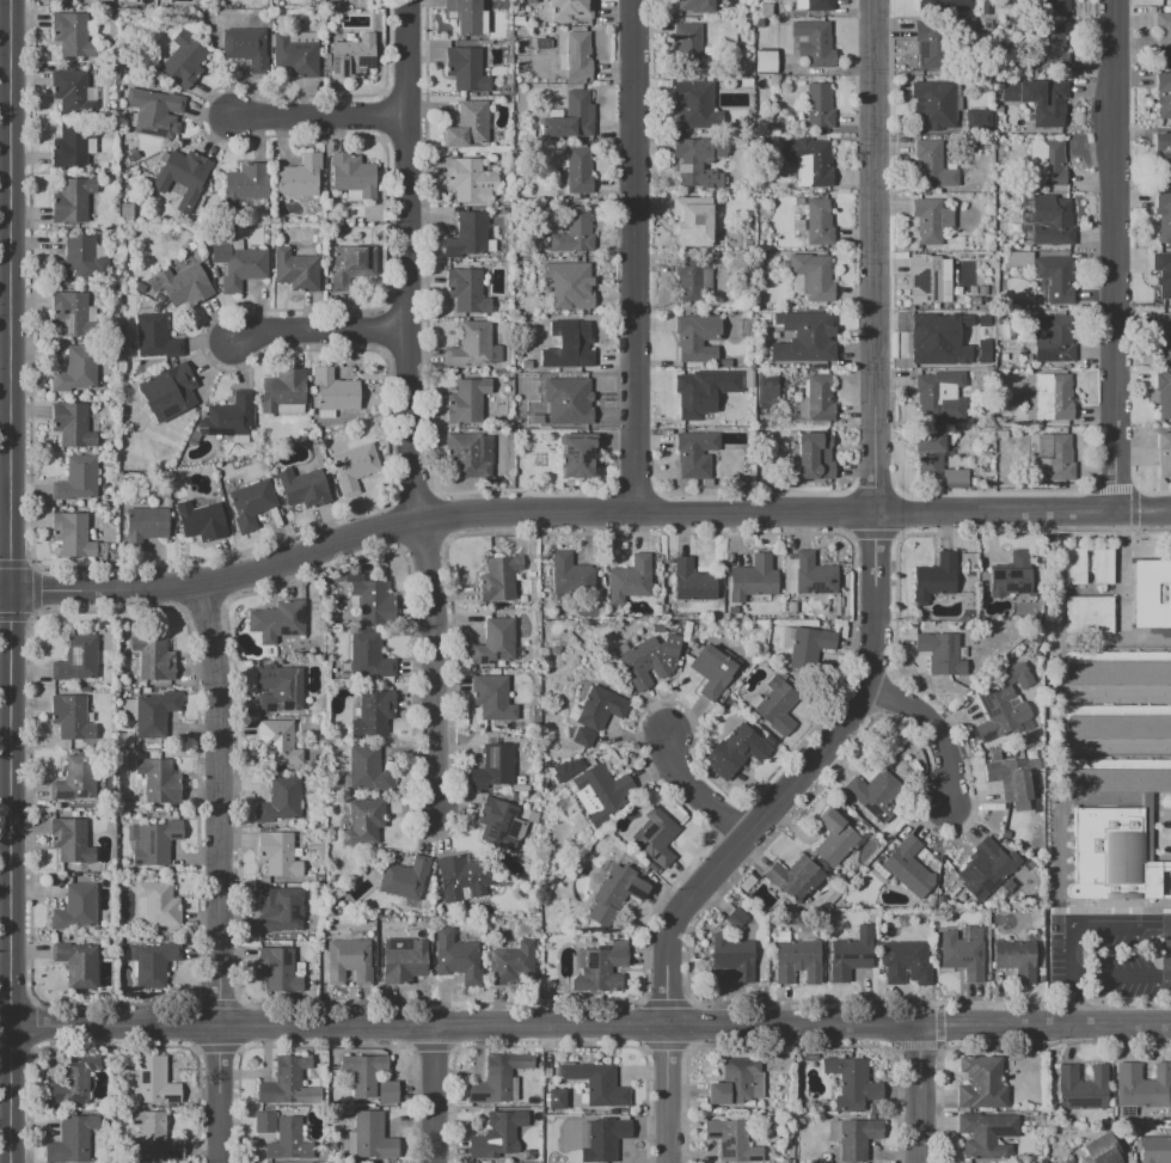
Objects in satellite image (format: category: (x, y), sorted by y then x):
building: (531, 1)
building: (816, 4)
building: (930, 4)
building: (983, 5)
building: (688, 6)
building: (1054, 6)
building: (571, 10)
building: (765, 10)
building: (520, 12)
road: (6, 14)
building: (692, 14)
building: (466, 16)
building: (517, 20)
building: (689, 20)
building: (758, 23)
building: (70, 35)
building: (1163, 35)
building: (349, 37)
building: (485, 42)
building: (541, 43)
building: (687, 43)
building: (814, 43)
building: (928, 43)
building: (244, 47)
building: (1052, 48)
building: (351, 55)
building: (294, 56)
building: (577, 56)
building: (743, 56)
building: (180, 60)
building: (562, 62)
building: (766, 62)
building: (78, 66)
building: (466, 68)
building: (484, 69)
building: (746, 80)
building: (68, 88)
building: (505, 90)
building: (998, 94)
building: (1164, 94)
building: (691, 104)
building: (933, 104)
building: (1052, 104)
building: (819, 105)
building: (154, 111)
road: (318, 115)
building: (571, 117)
building: (979, 120)
building: (468, 126)
building: (998, 129)
building: (1013, 129)
building: (529, 134)
building: (760, 139)
building: (72, 142)
building: (125, 146)
building: (1163, 153)
building: (468, 154)
building: (131, 157)
building: (105, 158)
building: (698, 161)
building: (809, 161)
building: (932, 165)
building: (1047, 165)
building: (183, 170)
building: (577, 171)
building: (352, 175)
building: (300, 177)
building: (470, 179)
building: (246, 182)
building: (997, 188)
building: (820, 190)
building: (810, 195)
building: (73, 201)
building: (798, 201)
building: (503, 210)
building: (1163, 215)
building: (931, 220)
building: (694, 221)
building: (1052, 221)
building: (819, 222)
building: (798, 225)
building: (574, 233)
building: (466, 237)
building: (747, 244)
building: (490, 245)
building: (191, 246)
building: (759, 252)
road: (632, 255)
road: (1114, 255)
road: (873, 256)
road: (406, 259)
building: (1018, 259)
building: (79, 261)
building: (238, 263)
building: (351, 265)
building: (295, 269)
building: (1164, 275)
building: (813, 276)
building: (691, 277)
building: (930, 280)
building: (1055, 280)
building: (182, 284)
building: (569, 284)
building: (139, 287)
building: (982, 290)
building: (466, 292)
road: (12, 295)
building: (158, 298)
building: (975, 301)
building: (154, 308)
building: (69, 313)
building: (91, 313)
road: (317, 330)
building: (1005, 332)
building: (1164, 335)
building: (154, 337)
building: (803, 337)
building: (697, 338)
building: (937, 339)
building: (1053, 339)
building: (545, 344)
building: (580, 344)
building: (474, 345)
building: (981, 350)
building: (541, 365)
building: (76, 369)
building: (766, 386)
building: (282, 391)
building: (335, 391)
building: (167, 392)
building: (942, 394)
building: (1164, 394)
building: (693, 396)
building: (1053, 397)
building: (816, 399)
building: (466, 402)
building: (575, 403)
building: (290, 409)
building: (550, 410)
road: (6, 411)
building: (730, 412)
building: (325, 414)
building: (227, 417)
building: (70, 426)
building: (1001, 434)
building: (192, 439)
building: (239, 439)
building: (950, 443)
building: (987, 452)
building: (577, 454)
building: (930, 454)
building: (1164, 454)
building: (470, 455)
building: (697, 455)
building: (814, 455)
building: (1056, 455)
building: (534, 458)
building: (352, 466)
building: (76, 479)
building: (954, 479)
building: (991, 479)
building: (975, 482)
building: (568, 483)
building: (577, 483)
building: (302, 488)
building: (250, 504)
road: (585, 510)
building: (202, 520)
building: (142, 528)
building: (72, 535)
building: (1075, 568)
building: (1104, 568)
building: (569, 575)
building: (814, 575)
building: (934, 577)
building: (498, 579)
building: (753, 579)
building: (629, 580)
building: (1013, 580)
building: (692, 582)
road: (6, 592)
traffic signals: (12, 592)
building: (1152, 593)
building: (369, 598)
building: (790, 606)
building: (731, 611)
building: (1090, 614)
building: (277, 620)
building: (657, 626)
building: (495, 643)
building: (813, 650)
building: (939, 651)
building: (368, 655)
building: (153, 657)
building: (646, 659)
building: (75, 660)
road: (427, 666)
building: (1117, 668)
building: (712, 672)
building: (280, 687)
building: (492, 697)
building: (777, 705)
building: (597, 706)
building: (997, 711)
building: (373, 712)
building: (155, 714)
building: (72, 715)
building: (1117, 722)
road: (934, 732)
building: (582, 736)
building: (277, 742)
building: (734, 751)
building: (493, 766)
building: (367, 767)
road: (795, 776)
building: (1118, 776)
building: (1011, 778)
building: (73, 779)
building: (158, 779)
building: (596, 786)
road: (695, 786)
building: (872, 794)
building: (281, 801)
building: (366, 819)
building: (574, 821)
building: (499, 822)
building: (1147, 827)
building: (654, 835)
building: (834, 838)
building: (70, 841)
building: (157, 841)
building: (278, 855)
building: (1114, 858)
building: (907, 864)
building: (989, 865)
road: (216, 873)
road: (11, 876)
building: (405, 877)
building: (460, 877)
building: (795, 880)
building: (615, 894)
building: (159, 904)
building: (75, 907)
building: (281, 916)
building: (735, 918)
road: (1118, 925)
building: (850, 954)
building: (962, 955)
building: (1017, 956)
building: (455, 957)
building: (732, 957)
building: (350, 959)
building: (792, 959)
building: (905, 961)
building: (75, 962)
building: (153, 963)
building: (404, 963)
building: (511, 963)
building: (276, 966)
building: (600, 968)
road: (1120, 973)
road: (1068, 974)
road: (590, 1026)
building: (364, 1072)
building: (498, 1078)
building: (284, 1081)
building: (72, 1082)
building: (152, 1082)
building: (737, 1082)
building: (852, 1082)
building: (981, 1083)
building: (596, 1084)
building: (1142, 1087)
building: (1081, 1089)
building: (388, 1092)
road: (431, 1094)
road: (666, 1094)
road: (919, 1094)
building: (557, 1100)
building: (264, 1121)
building: (504, 1130)
building: (985, 1133)
building: (152, 1136)
building: (372, 1137)
building: (858, 1137)
building: (601, 1139)
building: (72, 1140)
building: (289, 1141)
building: (731, 1141)
building: (478, 1147)
building: (1154, 1149)
building: (1101, 1150)
building: (827, 1162)

